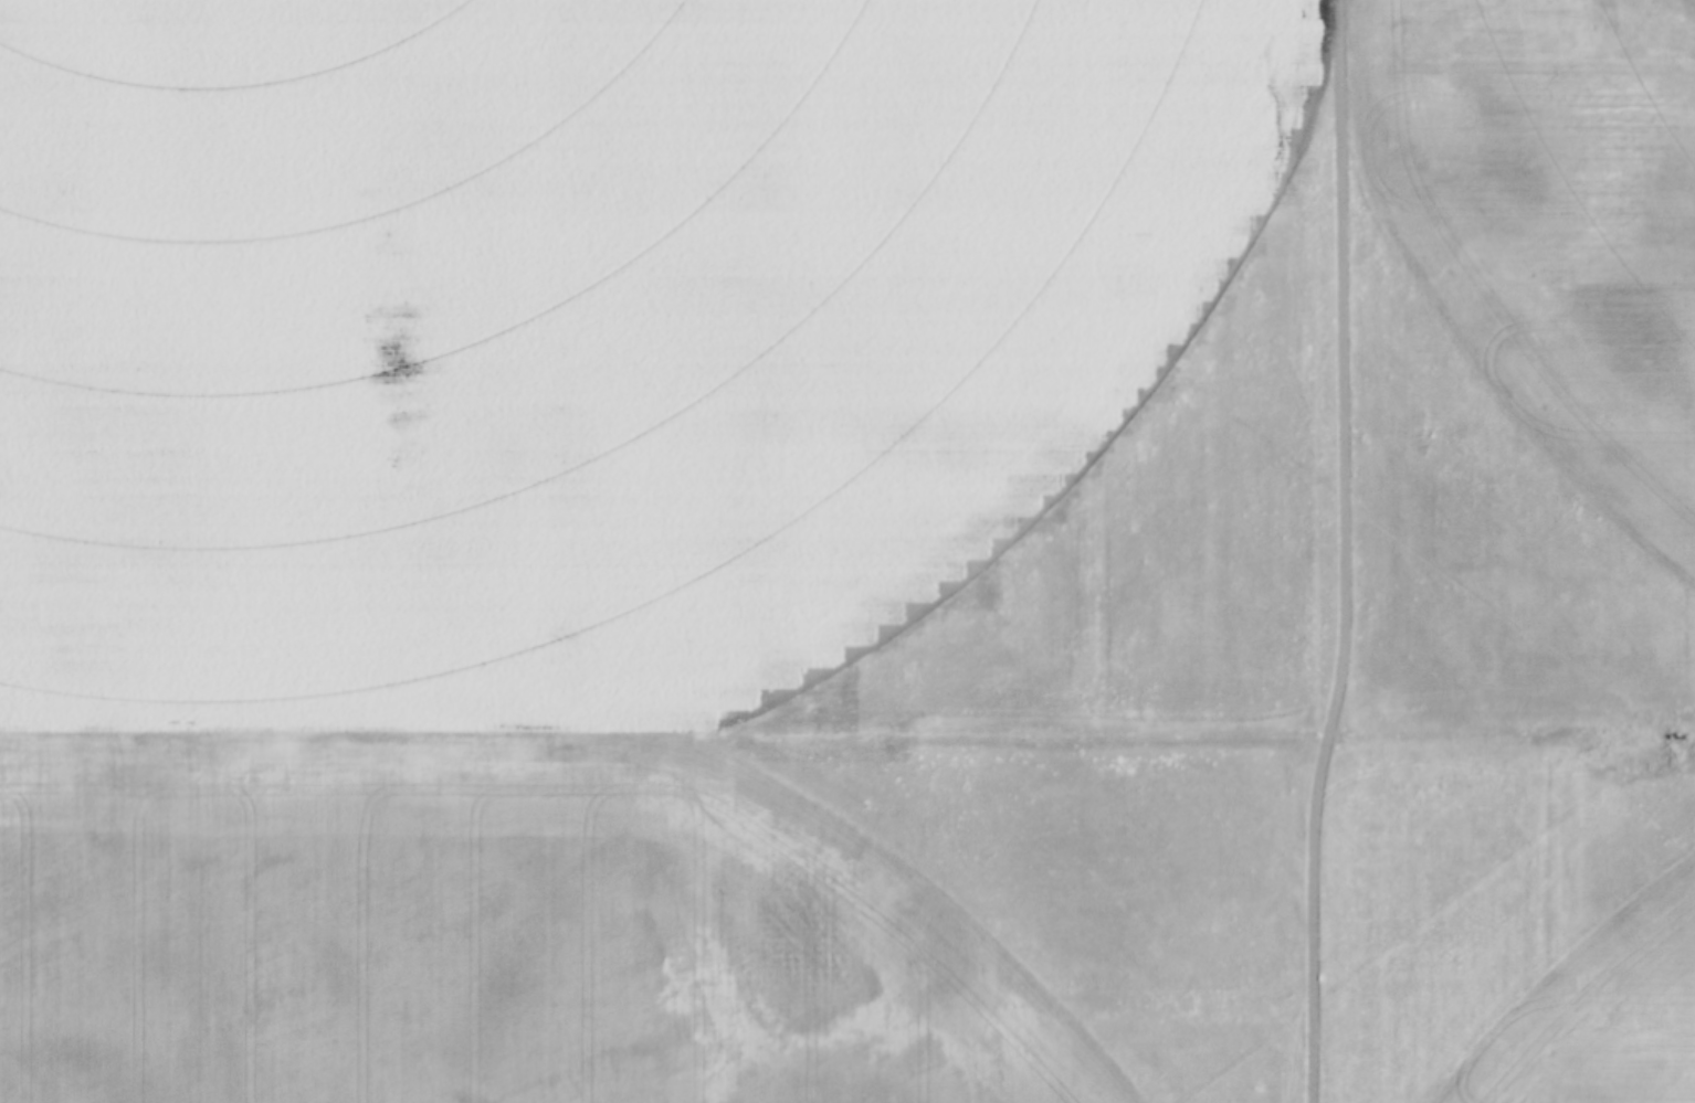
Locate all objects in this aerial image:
road: (1338, 552)

